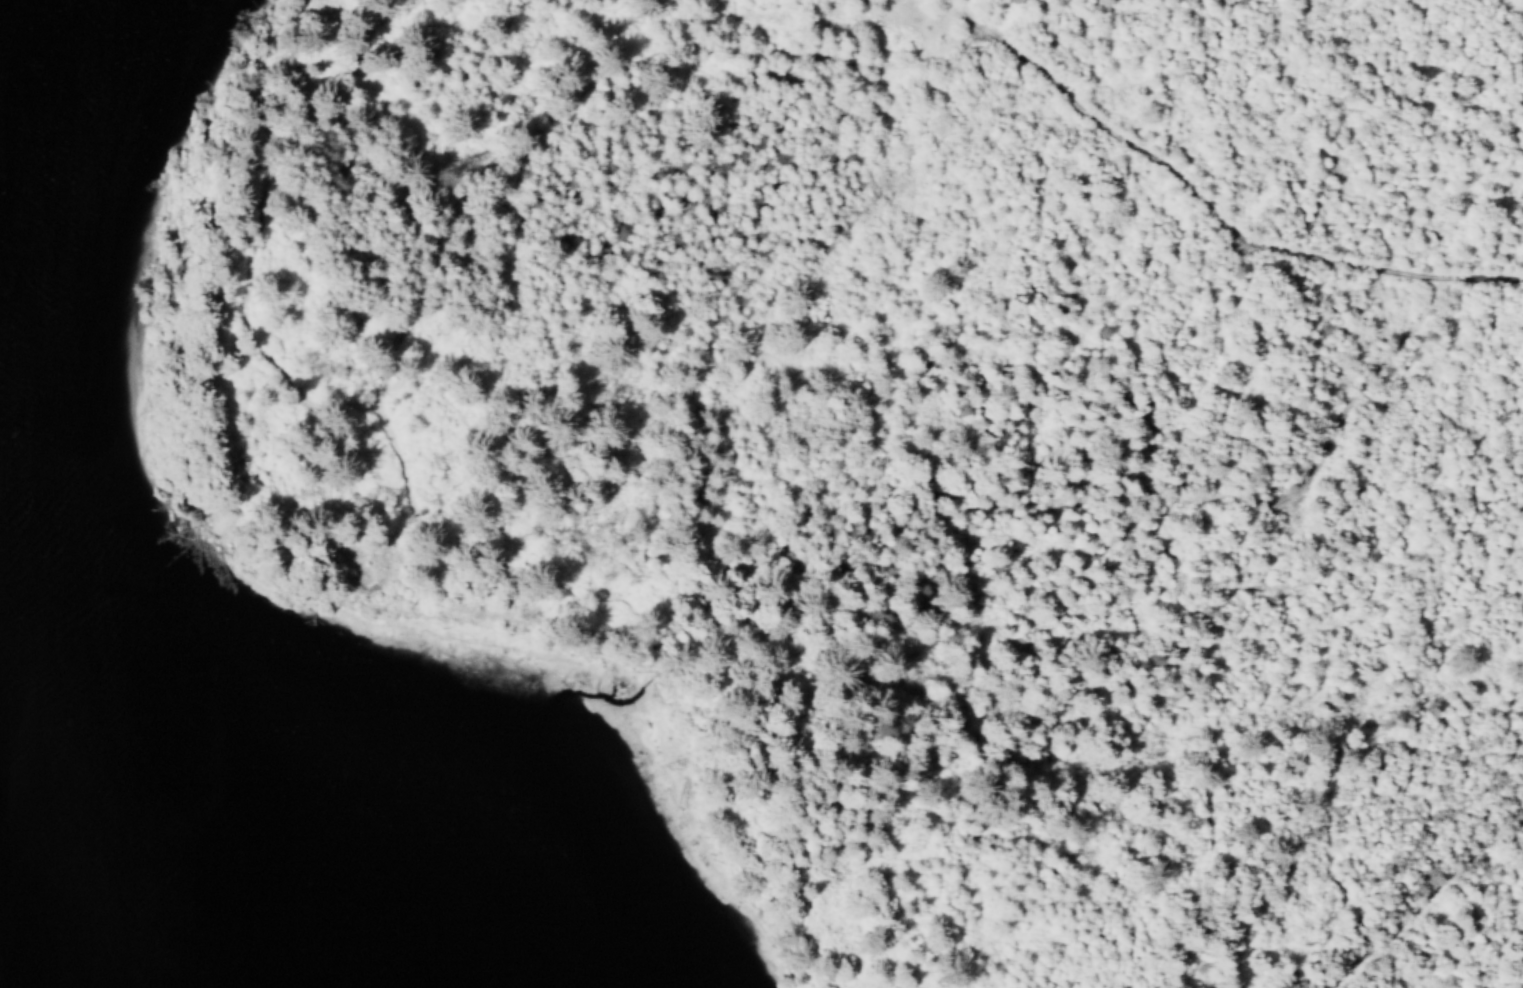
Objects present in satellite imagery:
road: (1209, 205)

